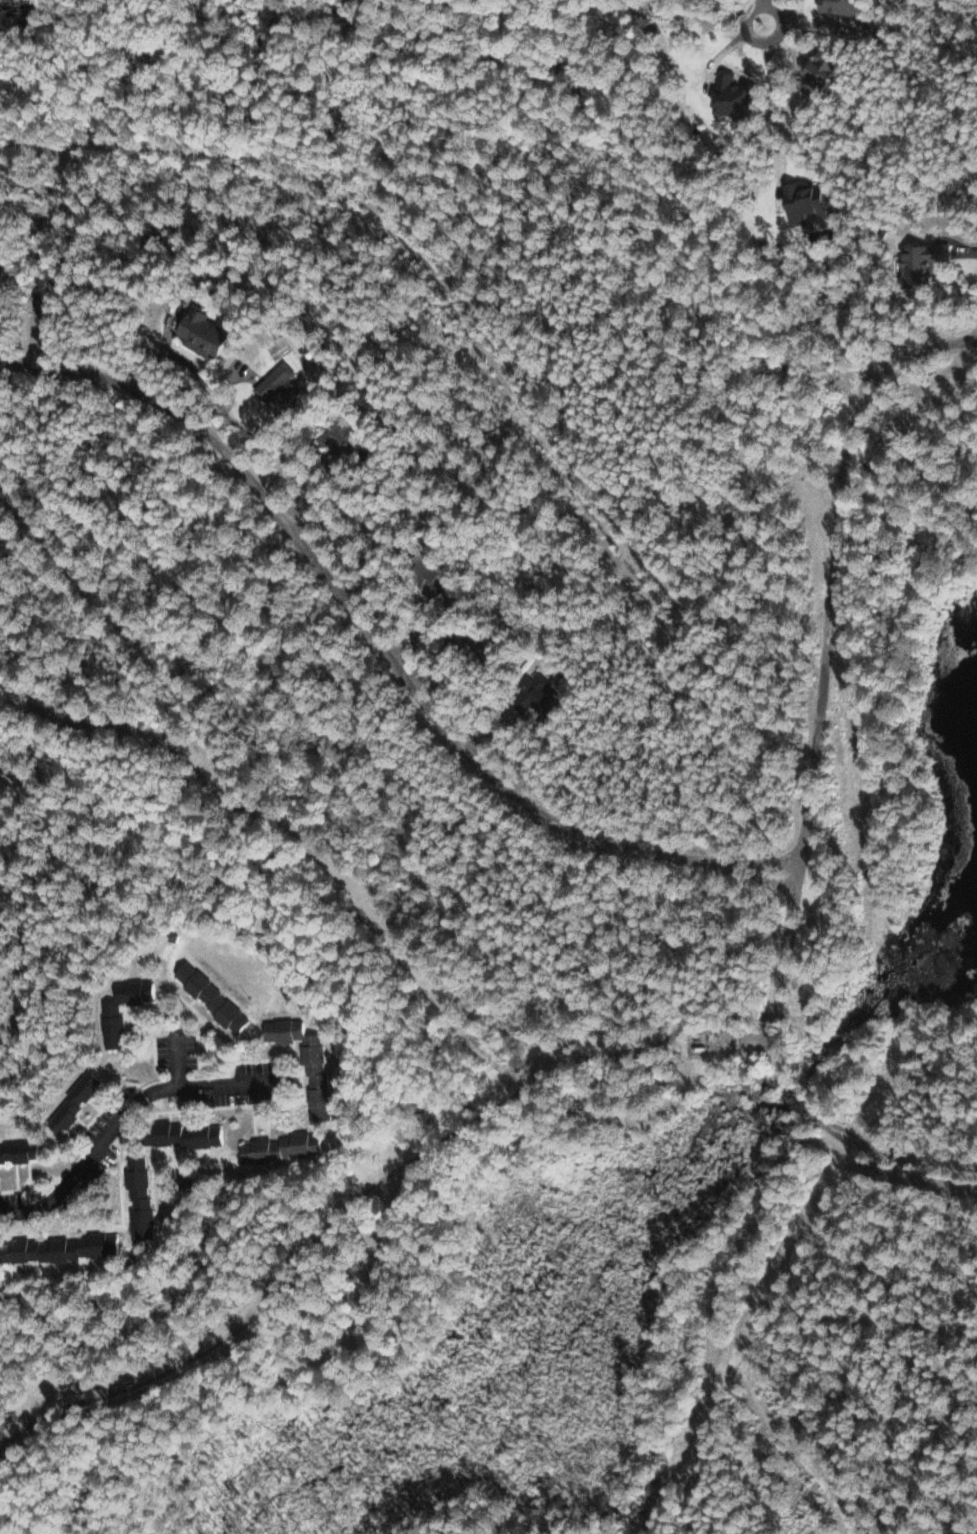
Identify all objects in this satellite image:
building: (843, 5)
road: (762, 12)
building: (826, 73)
building: (737, 95)
road: (778, 110)
building: (809, 201)
building: (926, 260)
building: (207, 333)
building: (282, 388)
building: (343, 437)
road: (833, 576)
building: (469, 639)
road: (382, 650)
building: (548, 697)
building: (214, 998)
building: (114, 1031)
building: (310, 1063)
road: (791, 1089)
building: (75, 1102)
road: (119, 1121)
building: (185, 1135)
building: (285, 1148)
building: (20, 1153)
building: (142, 1197)
building: (64, 1248)
building: (810, 1533)

